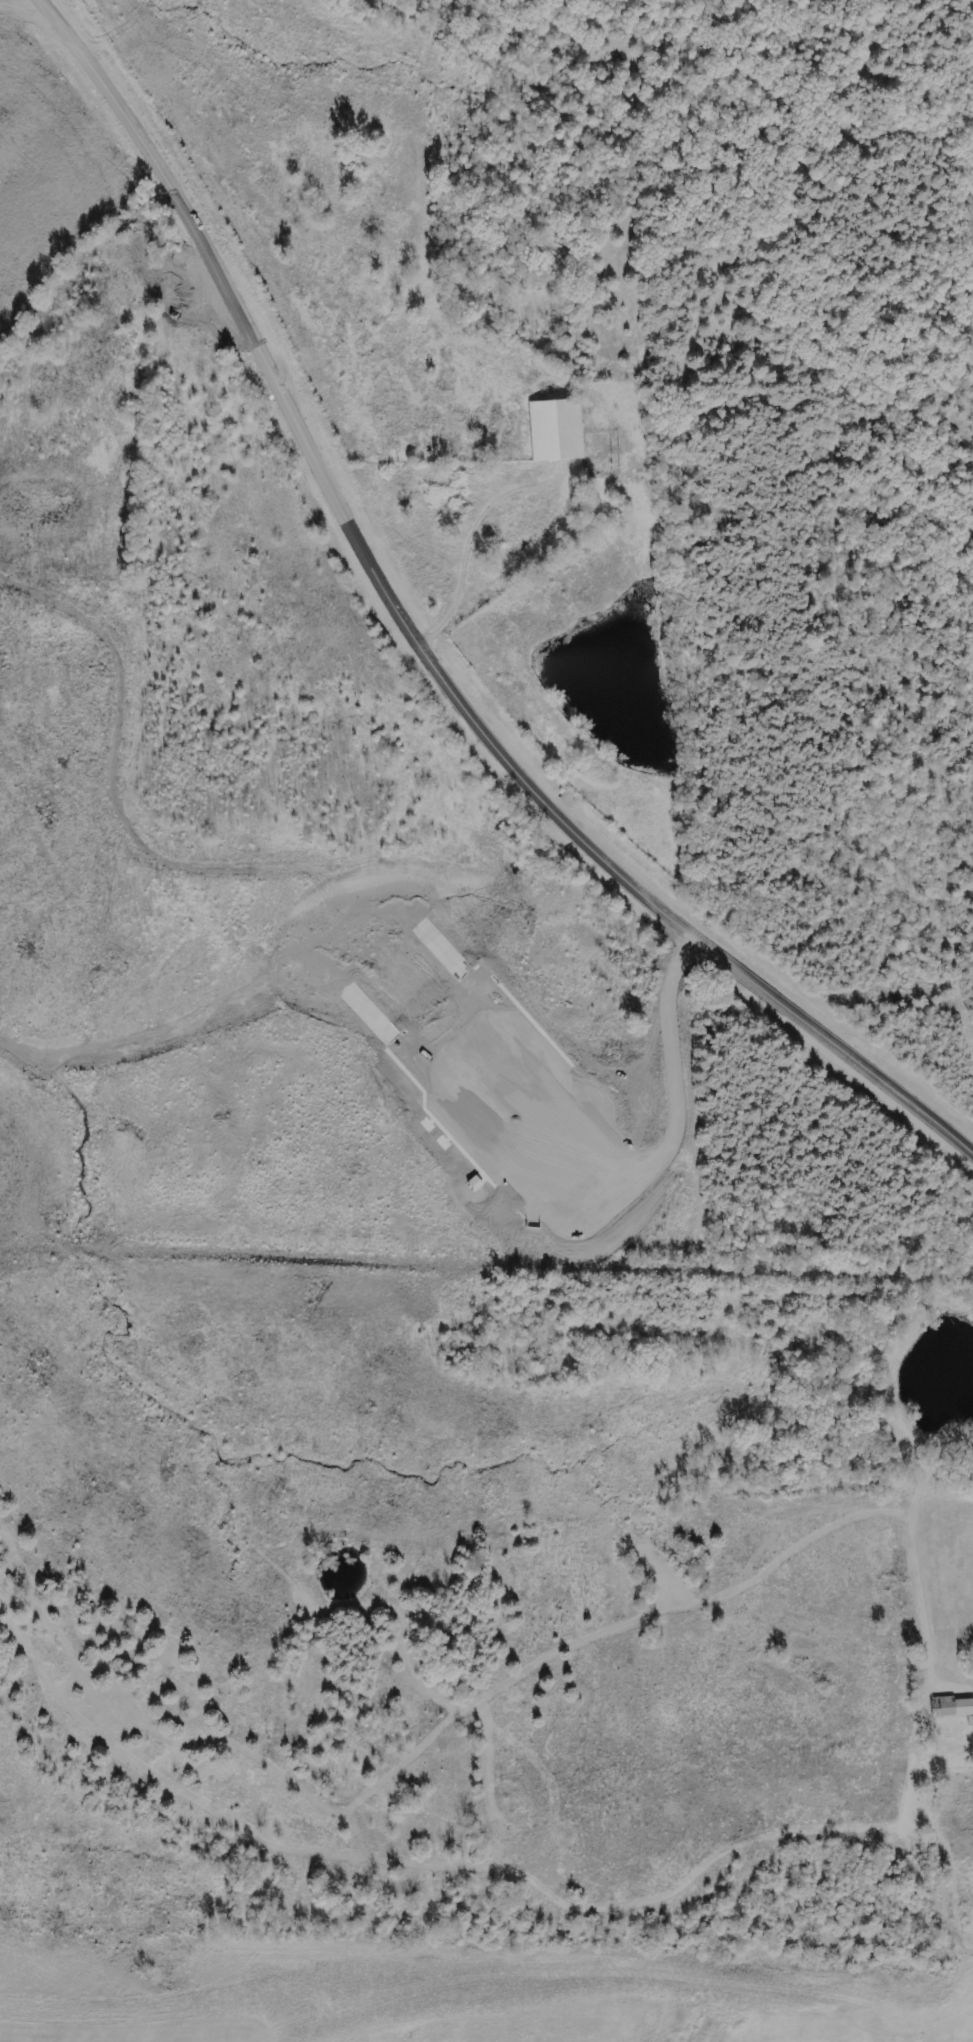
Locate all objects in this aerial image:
road: (136, 136)
road: (225, 315)
building: (553, 430)
road: (549, 808)
road: (437, 1016)
road: (530, 1047)
road: (523, 1112)
building: (425, 1124)
building: (441, 1142)
building: (471, 1183)
road: (577, 1230)
building: (954, 1708)

